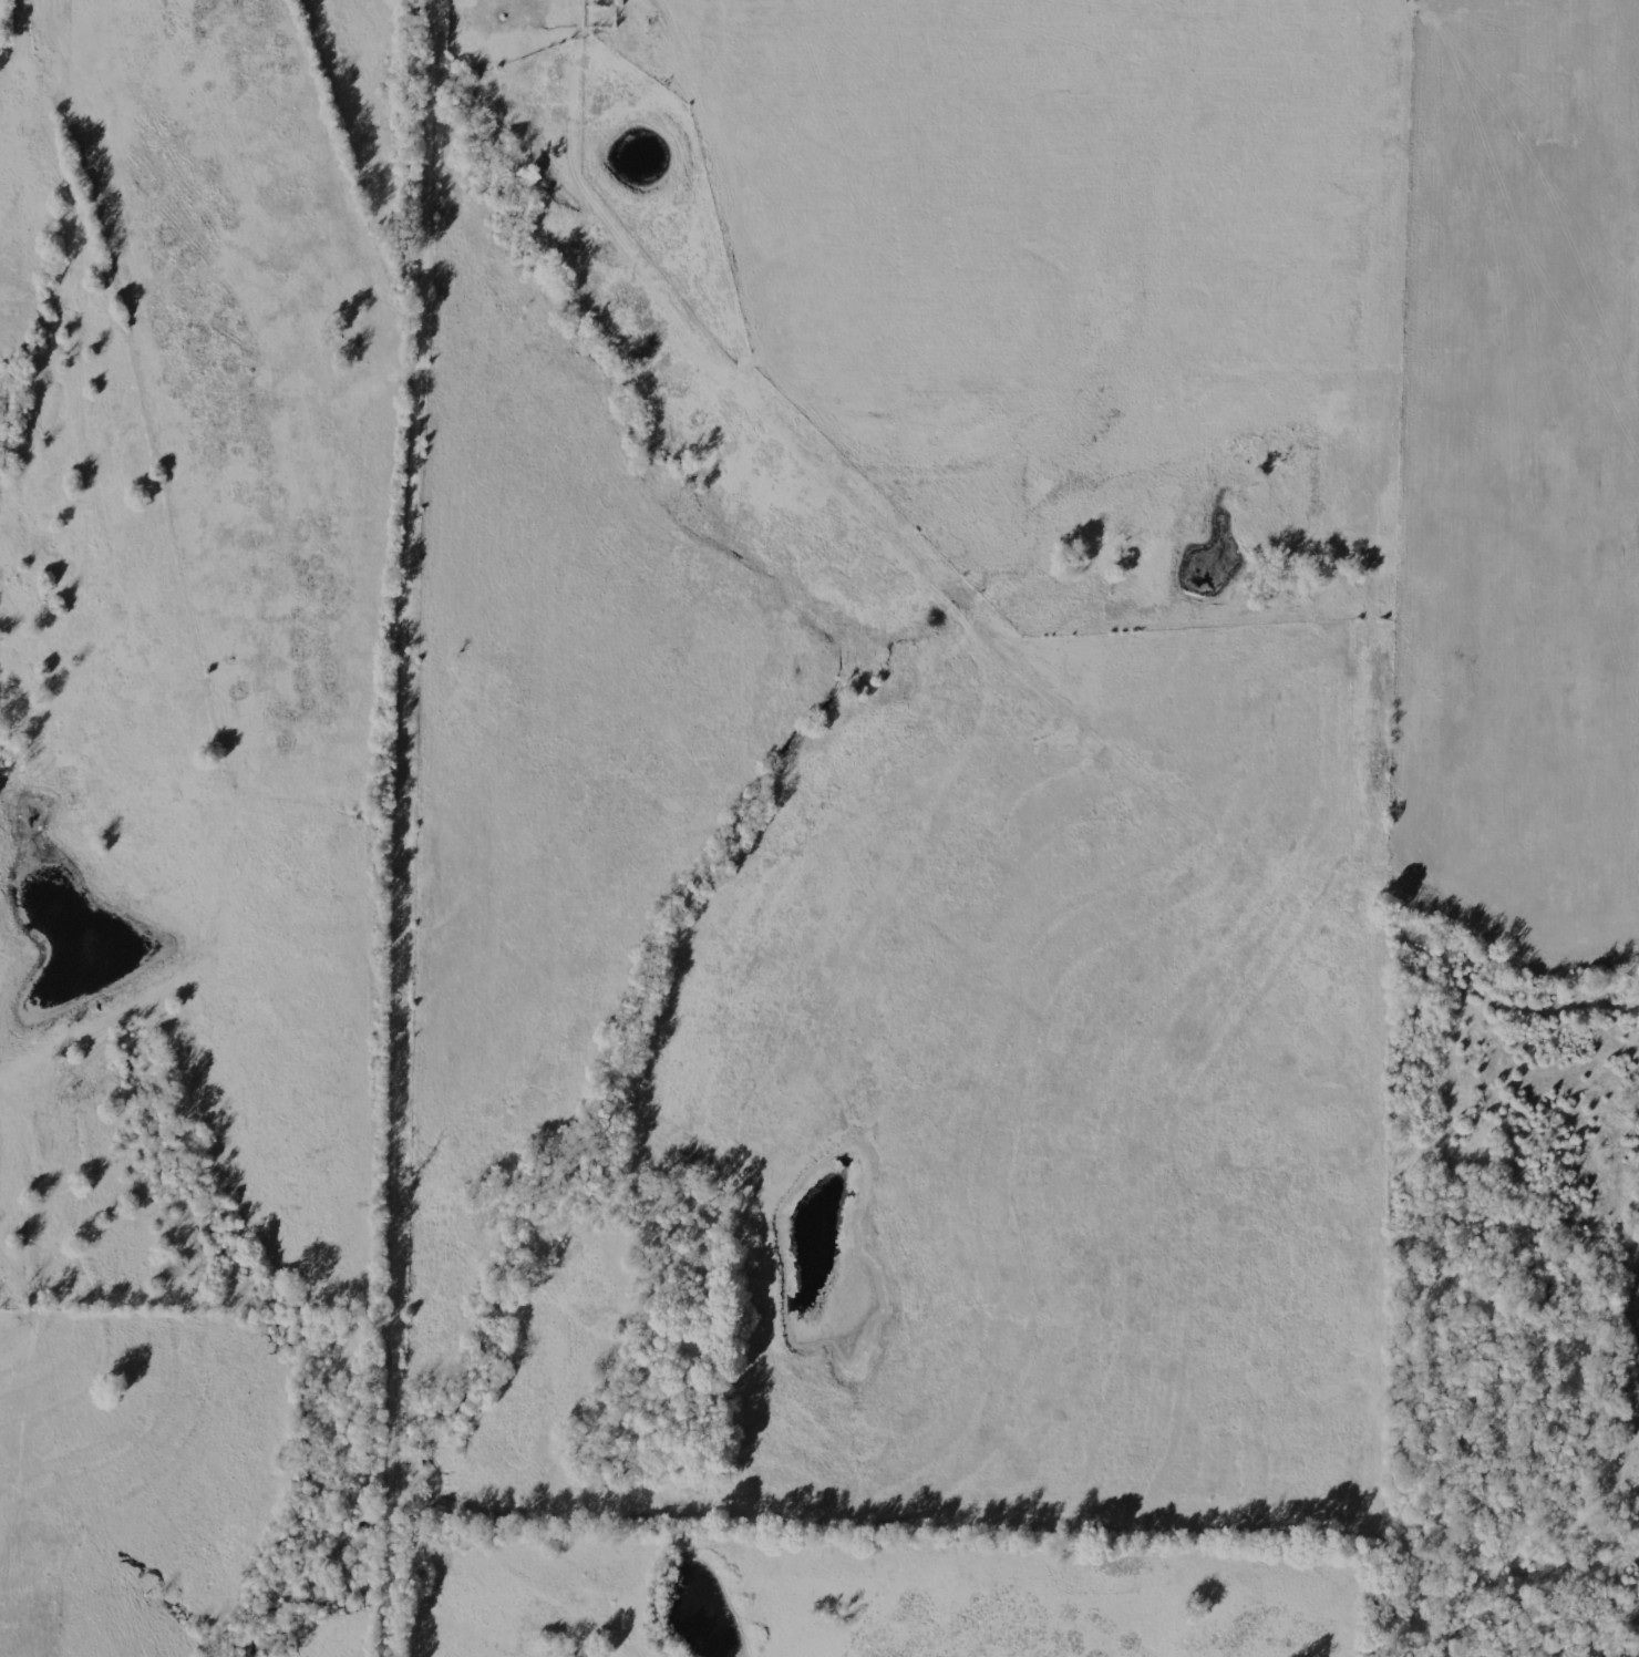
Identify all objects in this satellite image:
road: (414, 828)

